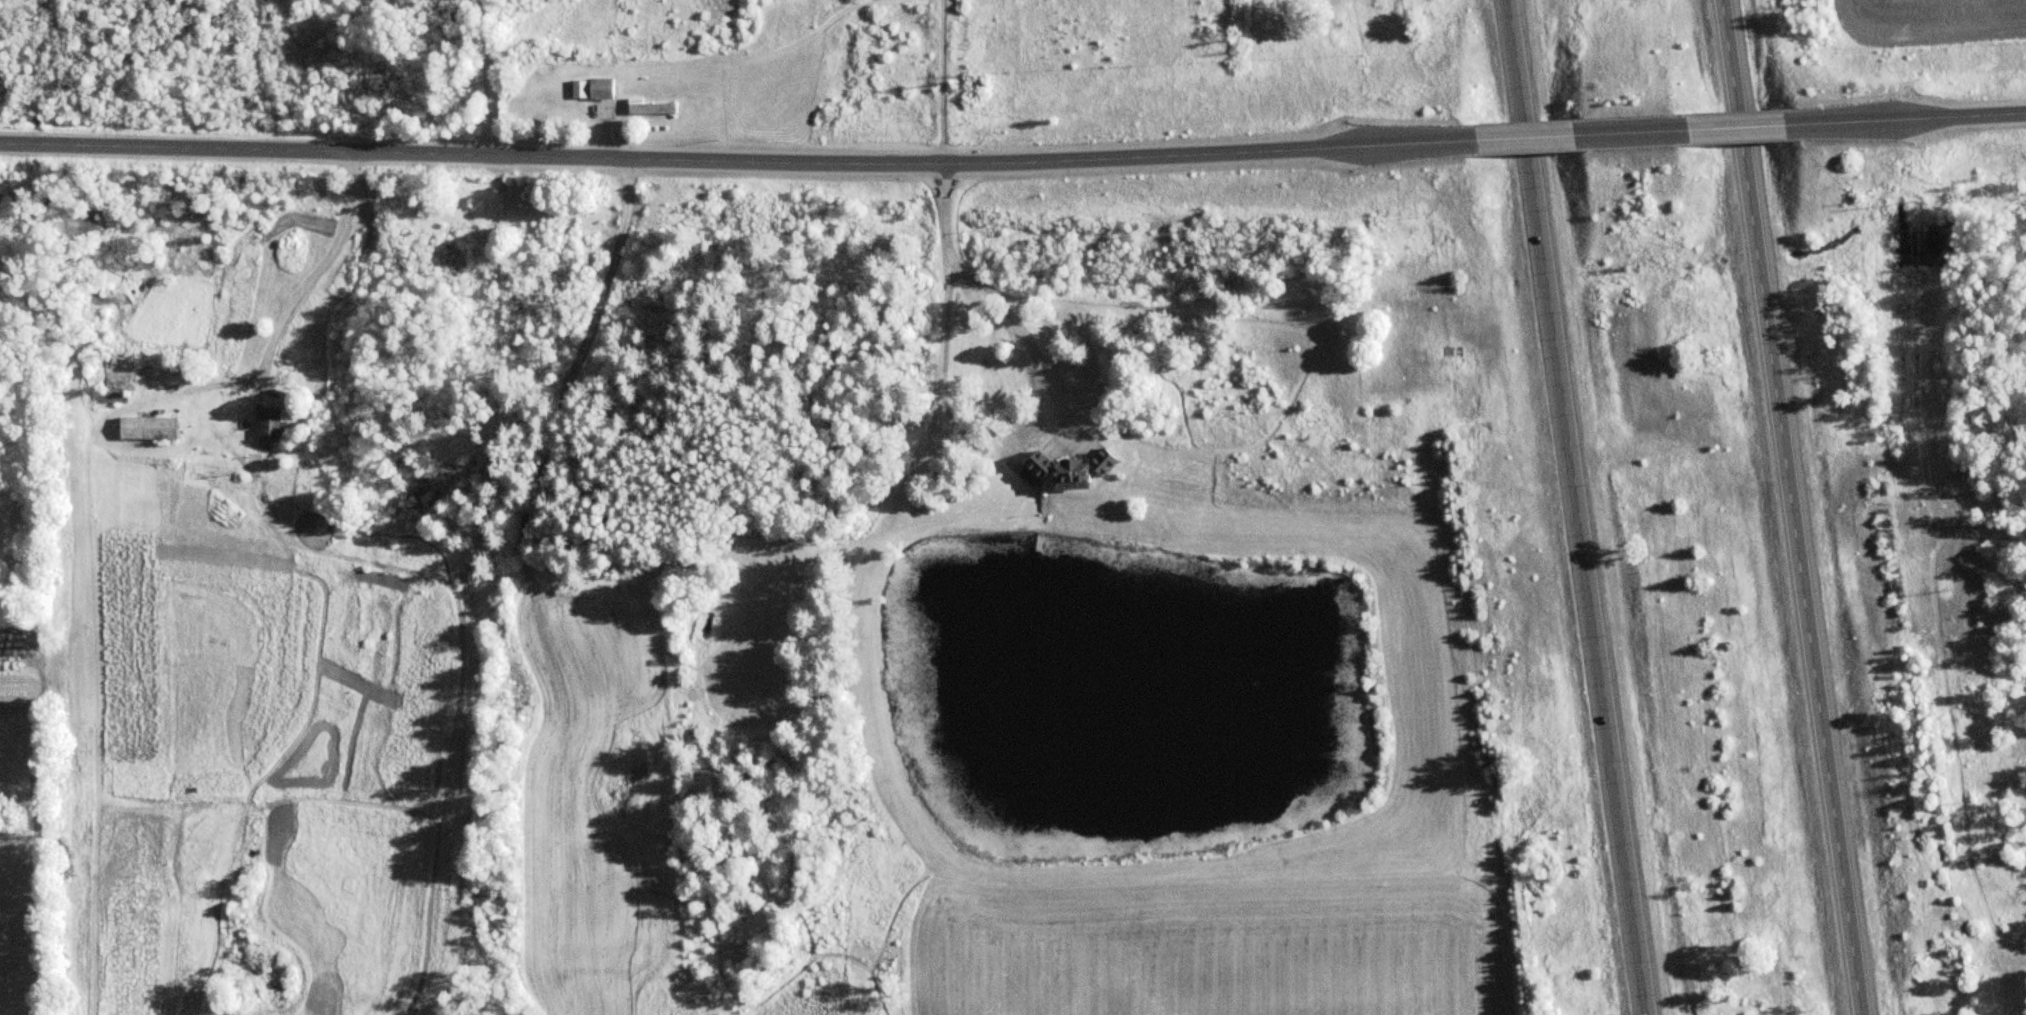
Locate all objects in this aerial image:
building: (587, 90)
building: (648, 108)
road: (1912, 119)
road: (1739, 128)
road: (1632, 132)
road: (1522, 137)
road: (729, 160)
road: (1000, 298)
building: (111, 379)
building: (266, 425)
building: (144, 429)
building: (1063, 472)
road: (1578, 507)
road: (1783, 507)
crop: (588, 790)
crop: (1213, 951)

